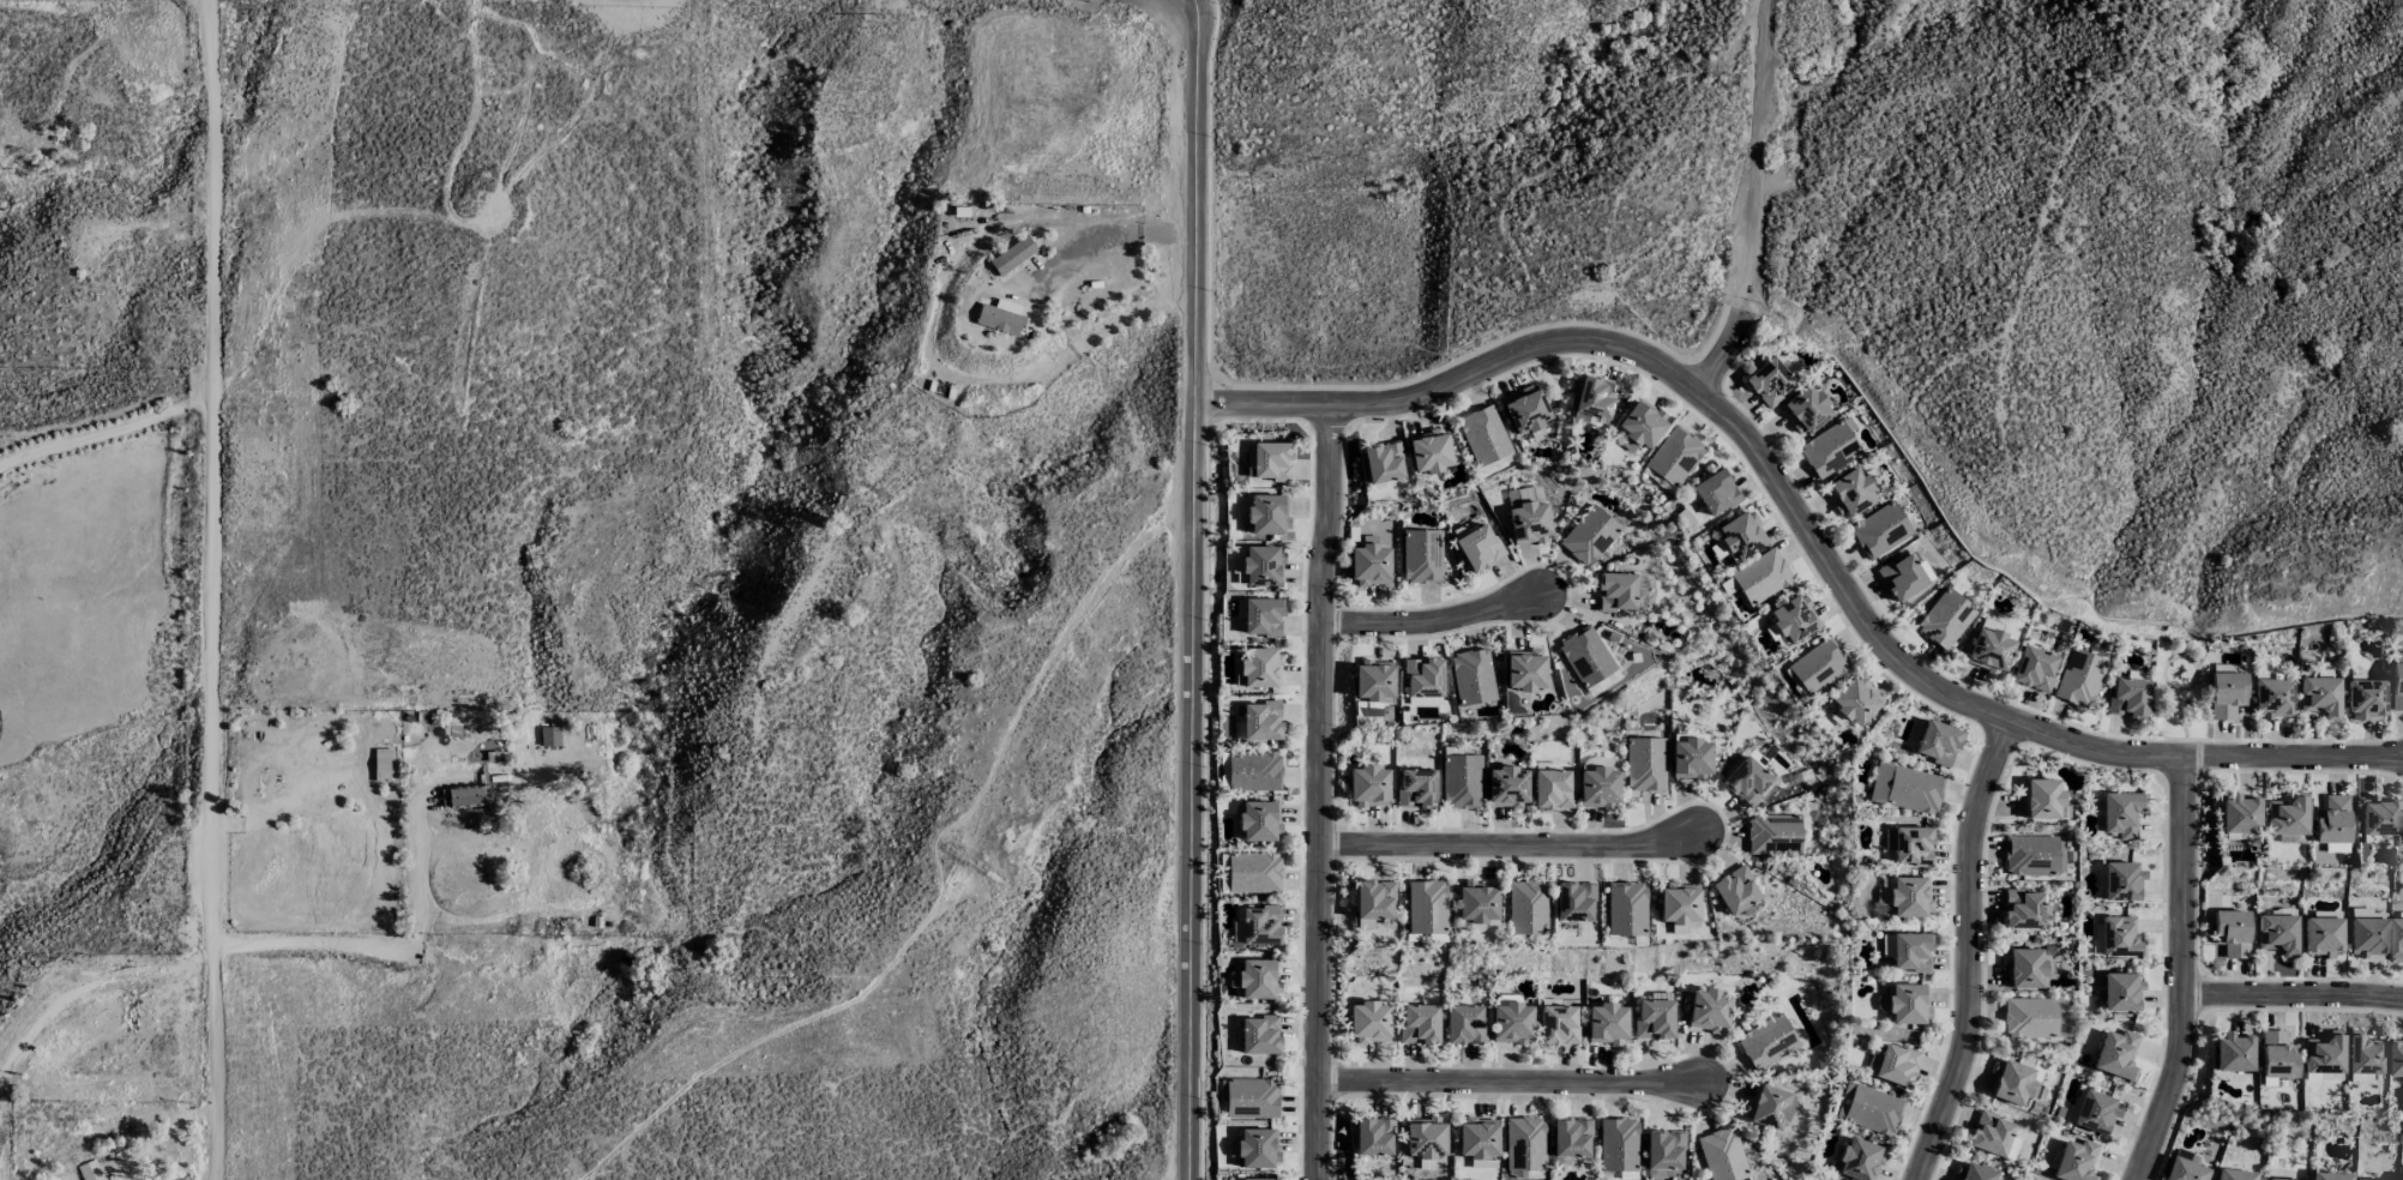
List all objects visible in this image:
road: (1754, 156)
road: (1102, 236)
building: (1011, 255)
building: (999, 319)
road: (1723, 355)
building: (1769, 381)
building: (1594, 401)
building: (1524, 410)
building: (1805, 410)
building: (1640, 422)
building: (1482, 434)
building: (1829, 450)
building: (1428, 451)
building: (1673, 456)
building: (1267, 460)
building: (1383, 462)
building: (1495, 463)
building: (1715, 492)
building: (1849, 492)
building: (1267, 513)
building: (1528, 519)
road: (1801, 524)
building: (1879, 530)
building: (1589, 535)
building: (1740, 535)
building: (1478, 547)
building: (1421, 556)
building: (1369, 564)
building: (1263, 566)
building: (1760, 576)
building: (1903, 579)
road: (1193, 589)
road: (212, 590)
building: (1615, 591)
building: (1263, 616)
building: (1794, 619)
building: (1945, 619)
road: (1429, 622)
building: (1989, 648)
building: (1585, 656)
building: (1818, 666)
building: (1259, 668)
building: (1524, 669)
building: (2034, 669)
building: (1471, 676)
building: (1422, 678)
building: (2078, 678)
building: (1374, 680)
building: (2396, 682)
building: (2226, 694)
building: (2319, 696)
building: (2272, 697)
building: (2127, 698)
building: (2366, 698)
building: (1855, 700)
building: (1261, 721)
building: (549, 736)
building: (1937, 743)
building: (1691, 759)
building: (381, 764)
building: (1644, 764)
building: (1223, 770)
building: (1254, 770)
building: (1461, 781)
building: (1746, 781)
building: (1368, 785)
building: (1506, 787)
building: (1416, 788)
building: (1597, 788)
building: (1905, 788)
building: (1552, 789)
road: (1321, 793)
building: (468, 795)
building: (2040, 799)
building: (2285, 815)
building: (2377, 817)
building: (1259, 820)
building: (2330, 820)
building: (1773, 833)
road: (1507, 845)
building: (1911, 845)
building: (2333, 848)
building: (2034, 855)
building: (1253, 872)
building: (2121, 881)
building: (1735, 890)
building: (1909, 896)
building: (1373, 899)
building: (1573, 901)
building: (1476, 902)
building: (1679, 903)
building: (1426, 907)
building: (1526, 907)
building: (1626, 909)
building: (2022, 909)
building: (2232, 932)
building: (2277, 933)
building: (2367, 937)
building: (2115, 938)
building: (2396, 940)
road: (359, 945)
building: (1886, 945)
building: (1910, 952)
road: (1968, 952)
building: (2023, 969)
road: (2184, 974)
building: (1255, 979)
building: (2120, 992)
road: (2293, 997)
building: (1908, 1004)
building: (1709, 1010)
building: (2029, 1017)
building: (1654, 1018)
building: (1369, 1022)
building: (1419, 1023)
building: (1512, 1023)
building: (1464, 1024)
building: (1606, 1024)
building: (1558, 1025)
building: (1259, 1035)
building: (1766, 1041)
building: (2233, 1052)
building: (2324, 1053)
building: (2277, 1054)
building: (2116, 1055)
building: (2366, 1055)
building: (2397, 1058)
building: (1893, 1065)
building: (2360, 1078)
building: (2011, 1083)
road: (1513, 1085)
building: (1249, 1098)
building: (1767, 1106)
building: (1868, 1109)
building: (2096, 1113)
building: (1989, 1134)
building: (1373, 1136)
building: (1570, 1137)
building: (1423, 1138)
building: (1477, 1138)
building: (1524, 1144)
building: (1618, 1144)
building: (2011, 1148)
building: (1663, 1150)
building: (1722, 1155)
building: (2186, 1155)
building: (1857, 1160)
building: (2074, 1161)
building: (1482, 1164)
building: (90, 1170)
building: (2184, 1170)
building: (2234, 1174)
building: (2330, 1176)
building: (1261, 1179)
building: (2273, 1179)
building: (2402, 1179)

